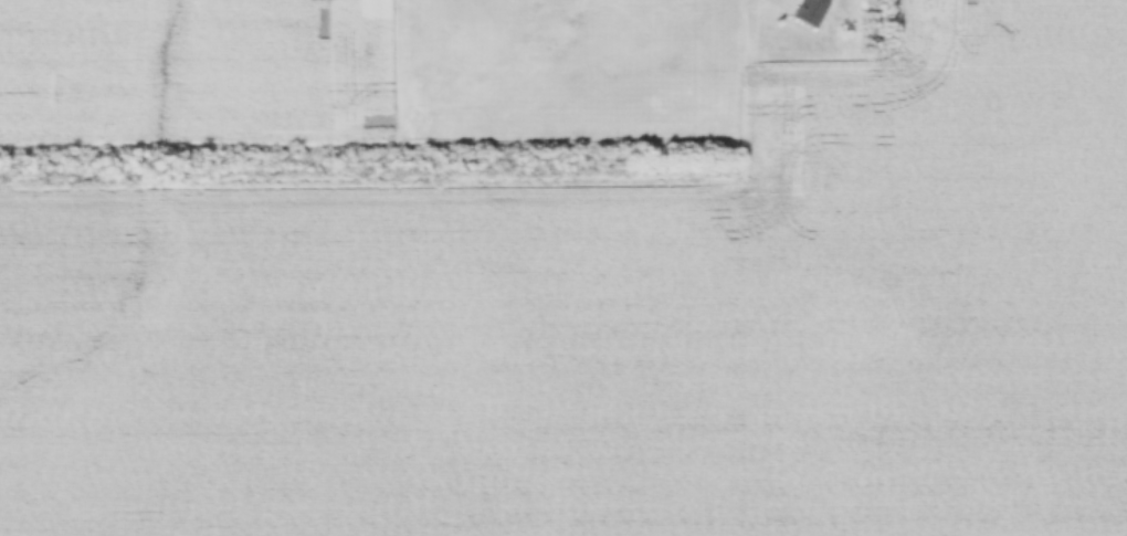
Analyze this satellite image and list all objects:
road: (782, 2)
building: (809, 12)

